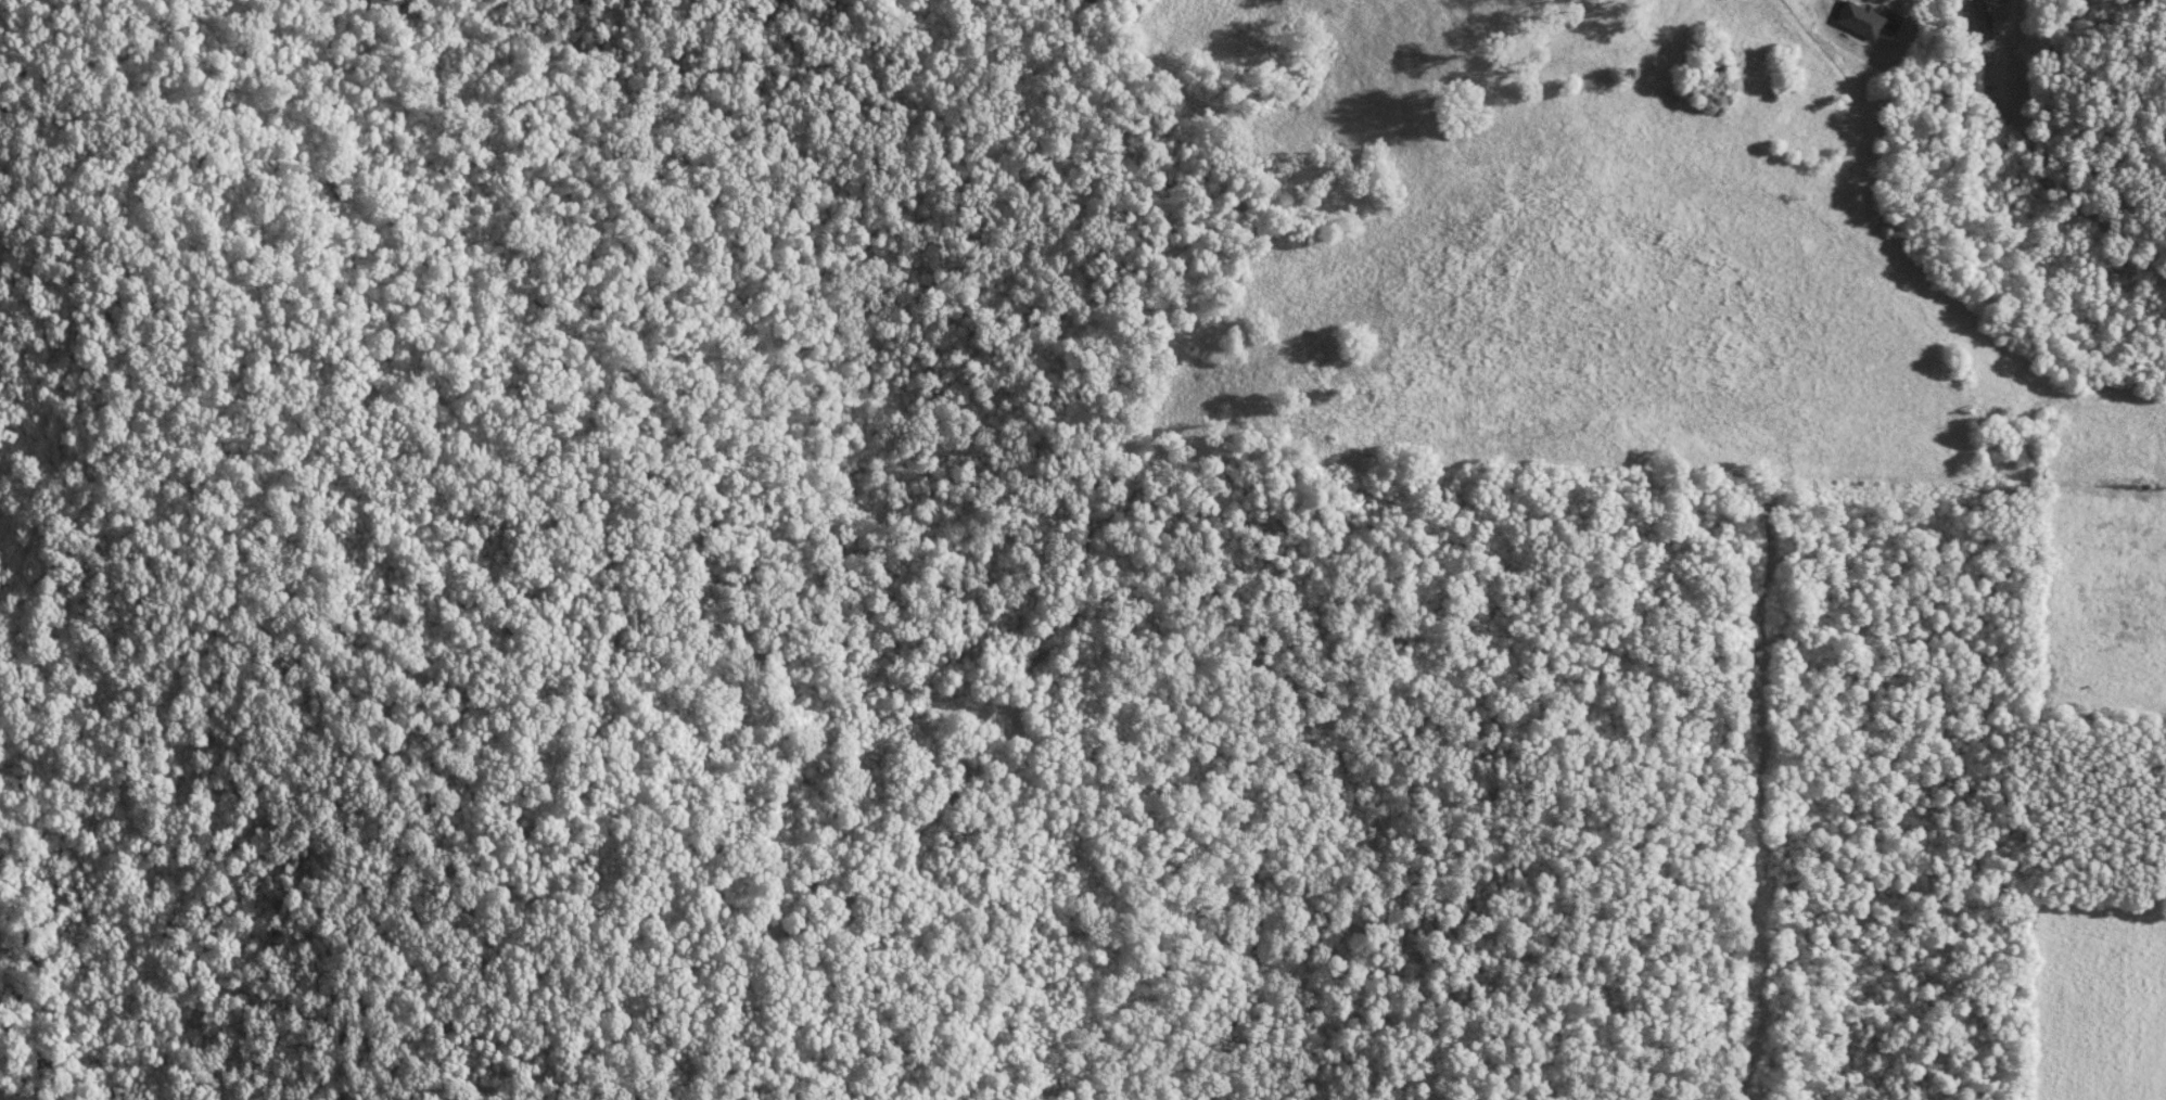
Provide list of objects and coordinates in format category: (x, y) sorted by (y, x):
road: (1896, 16)

